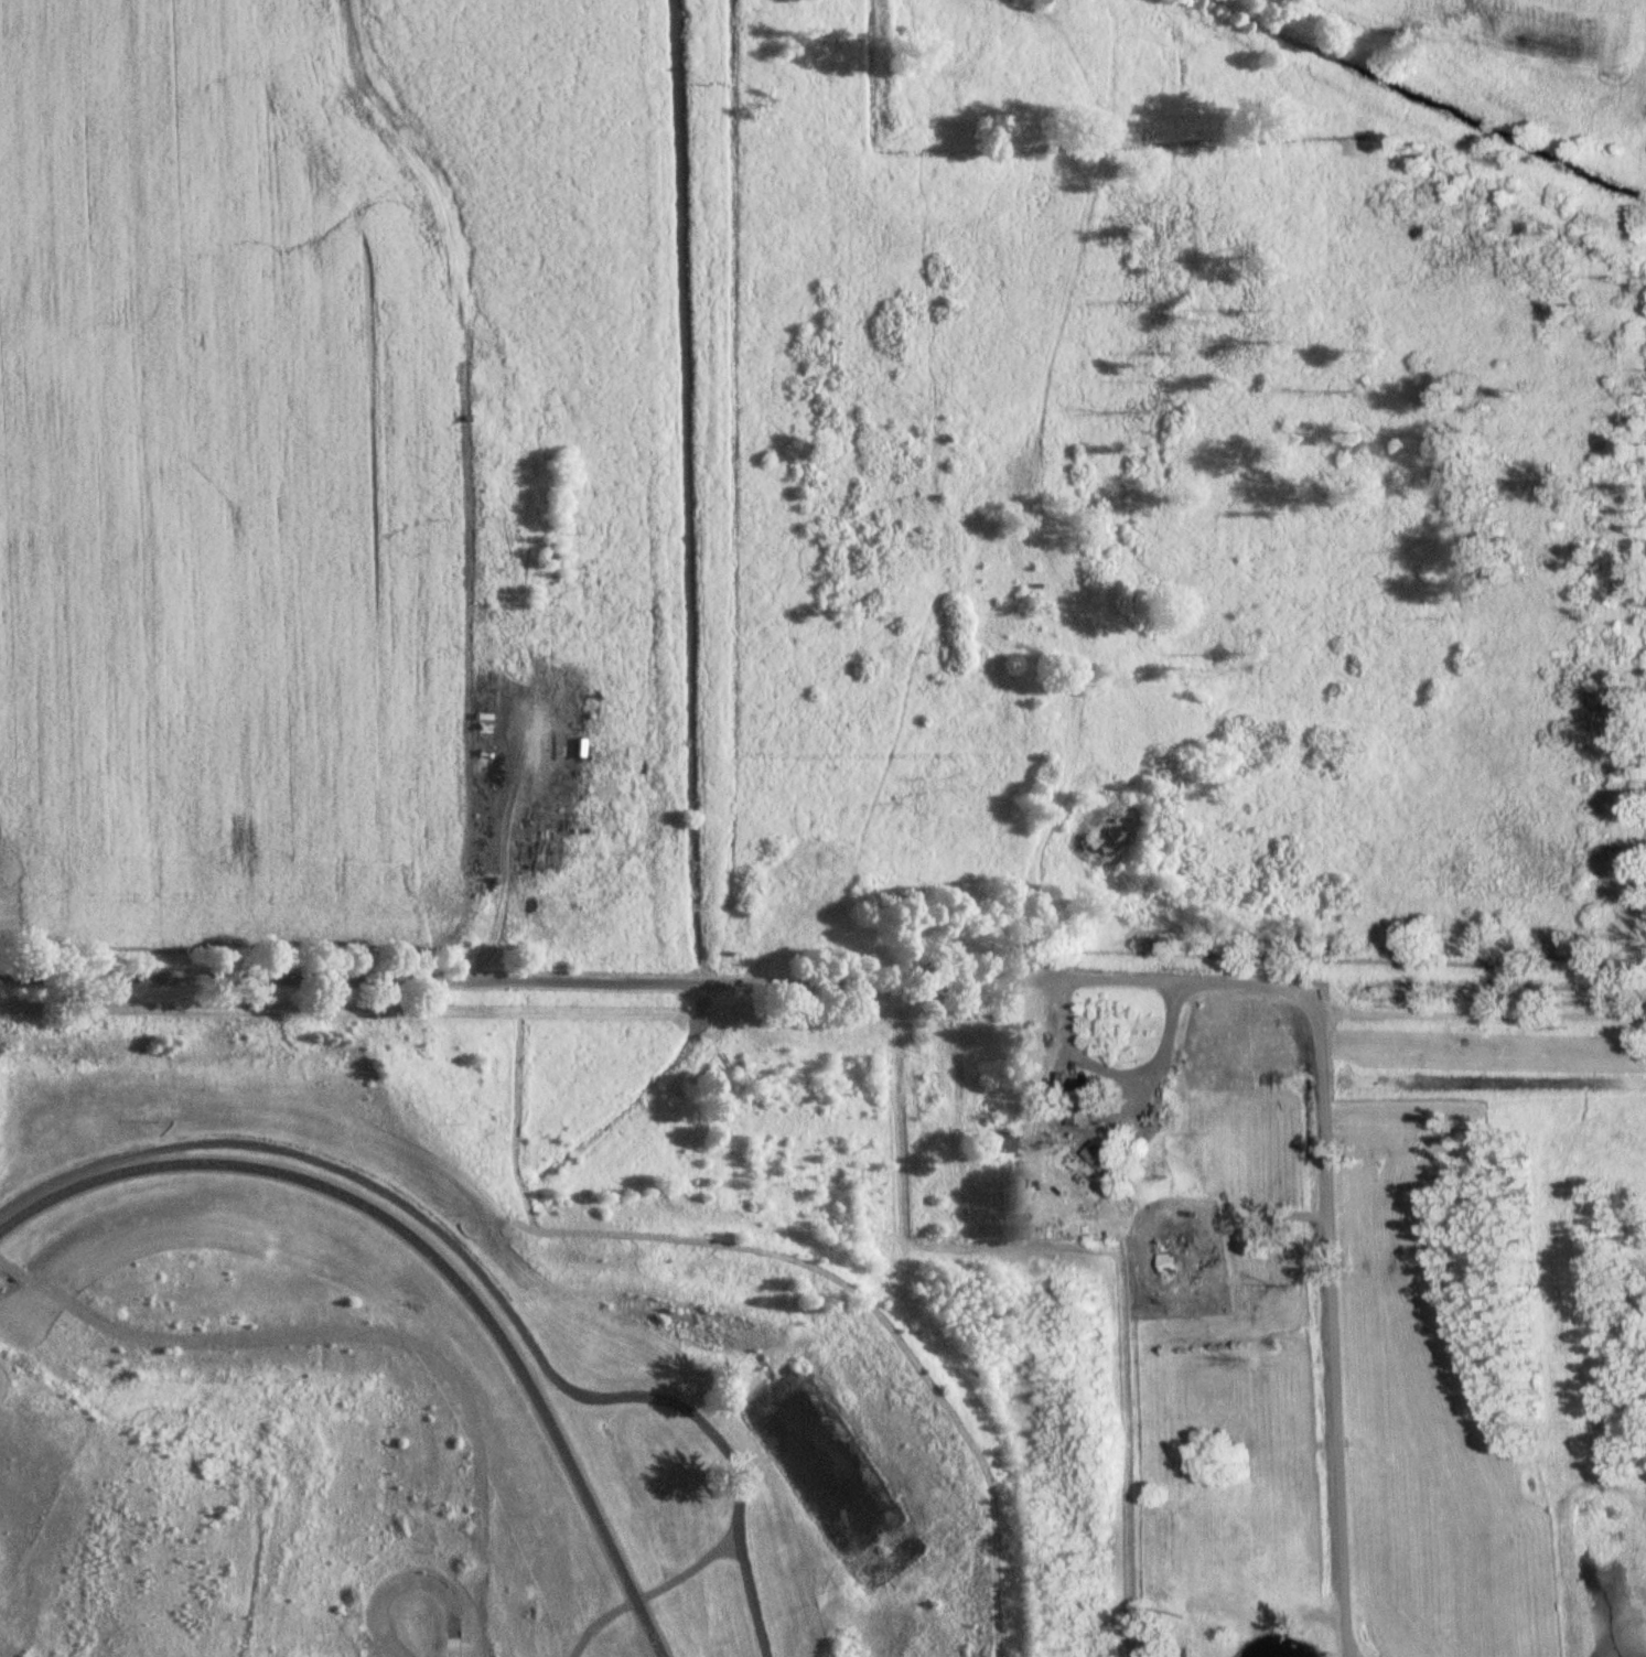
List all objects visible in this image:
road: (593, 976)
road: (1077, 1050)
road: (1160, 1051)
building: (1071, 1105)
building: (1002, 1142)
building: (1099, 1165)
road: (1330, 1260)
building: (1162, 1263)
road: (1348, 1654)
road: (1353, 1654)

